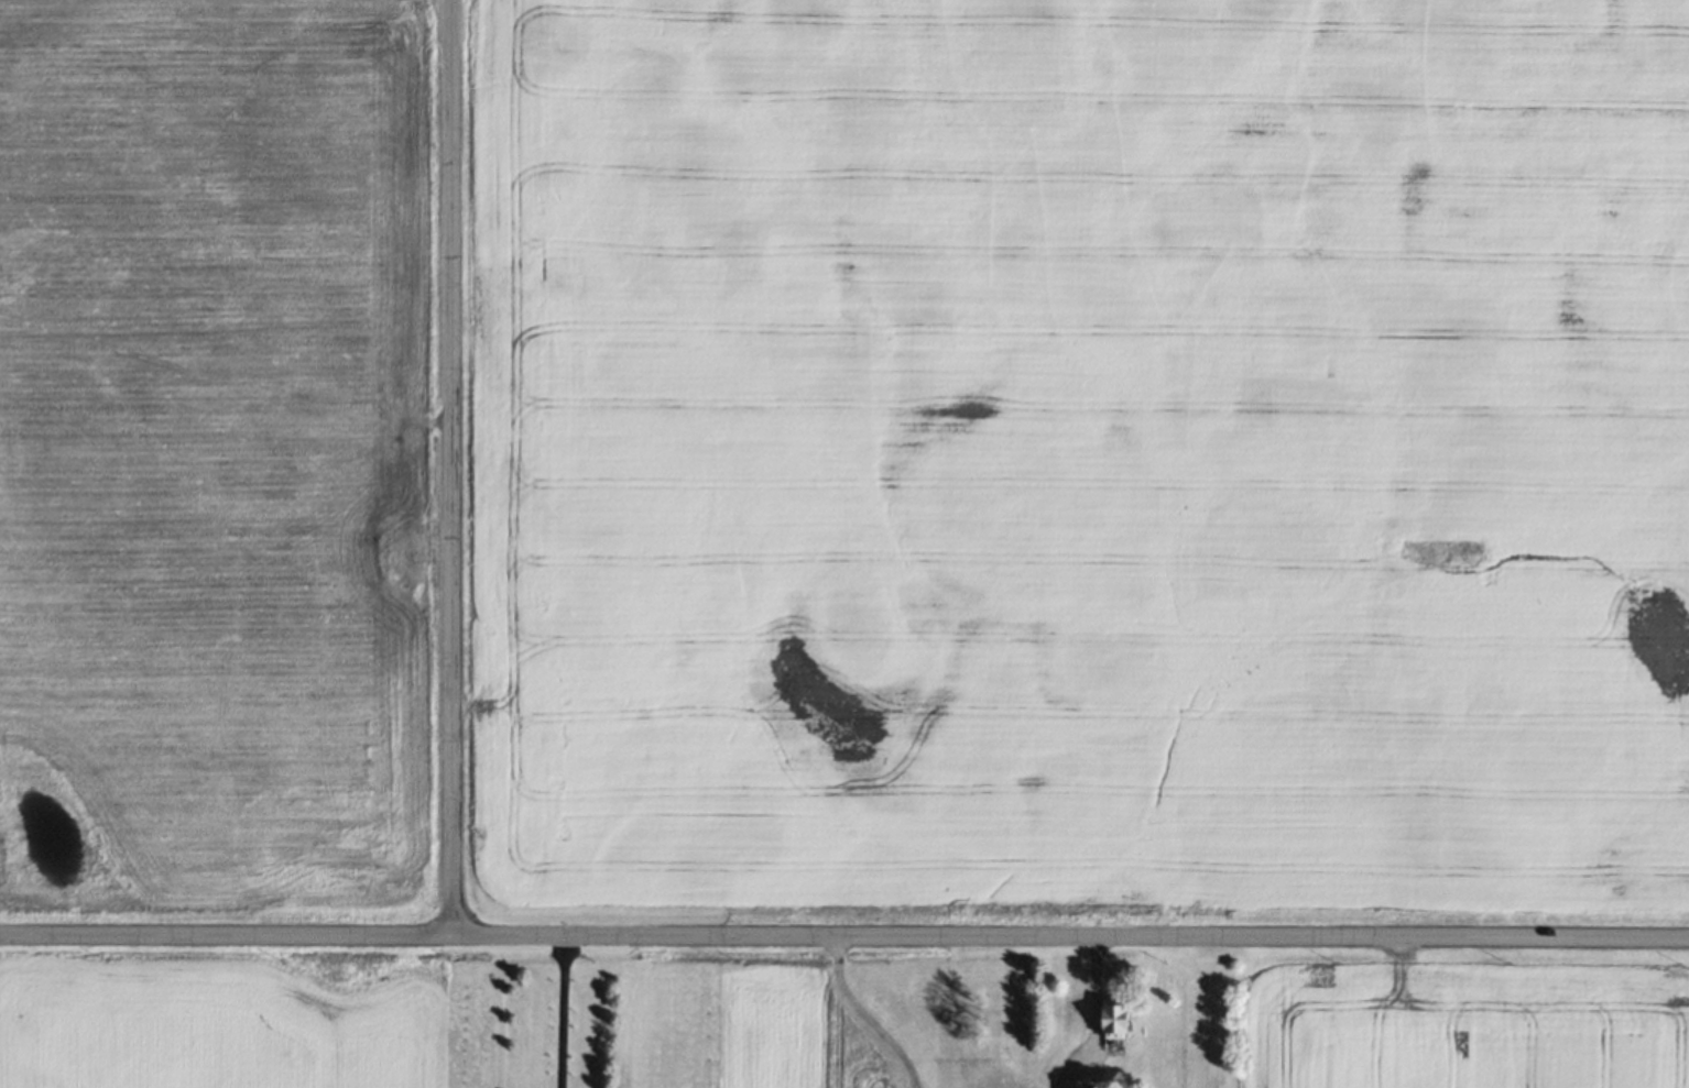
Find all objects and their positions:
crop: (1087, 448)
crop: (213, 452)
road: (451, 468)
road: (843, 932)
road: (564, 1011)
road: (869, 1012)
road: (1092, 1014)
building: (1114, 1018)

